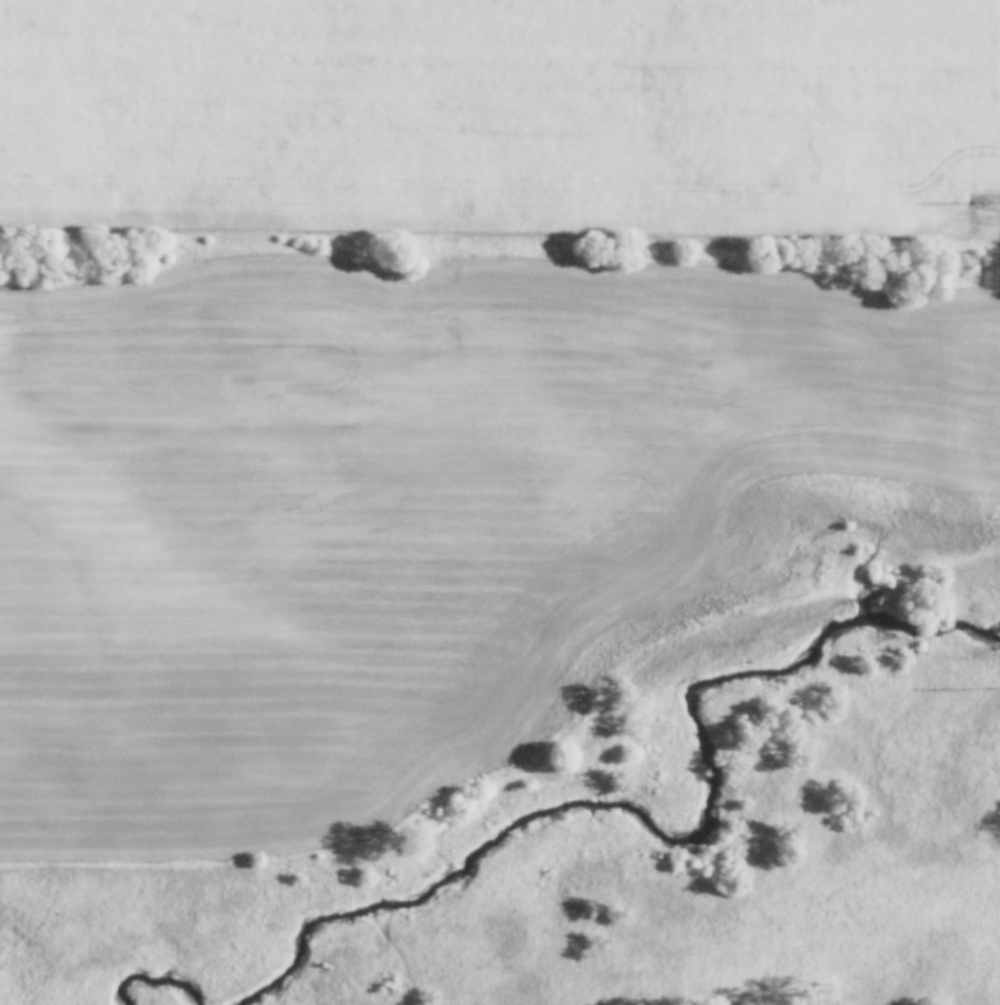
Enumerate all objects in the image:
power tower: (982, 202)
power tower: (987, 686)

